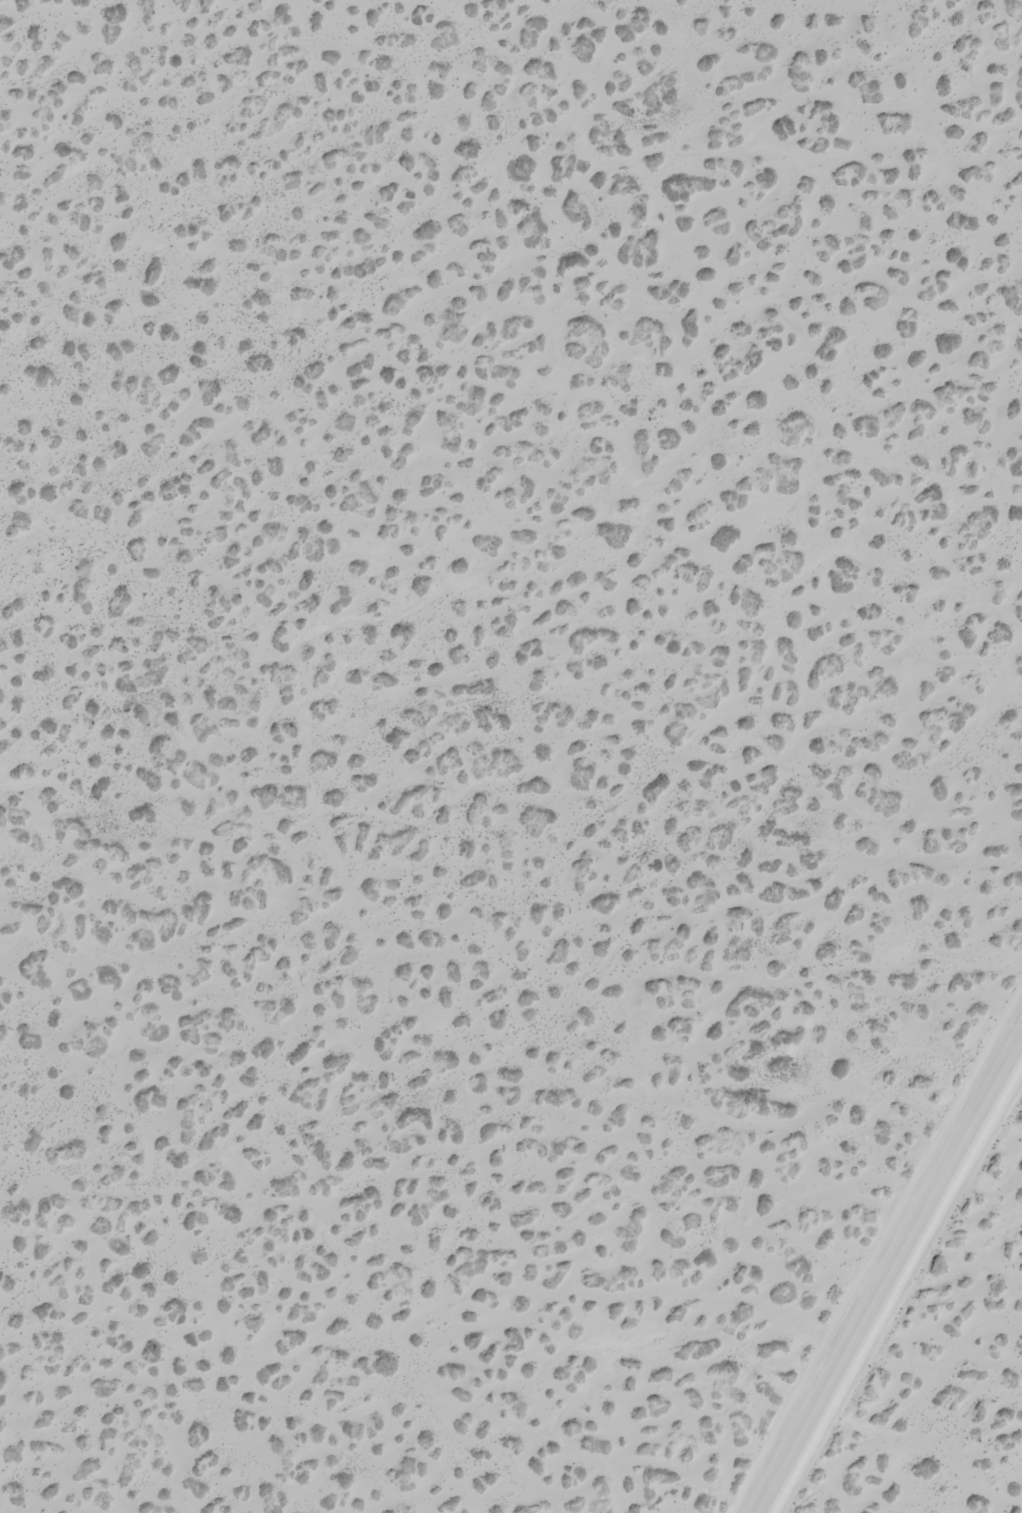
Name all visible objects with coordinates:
road: (888, 1272)

